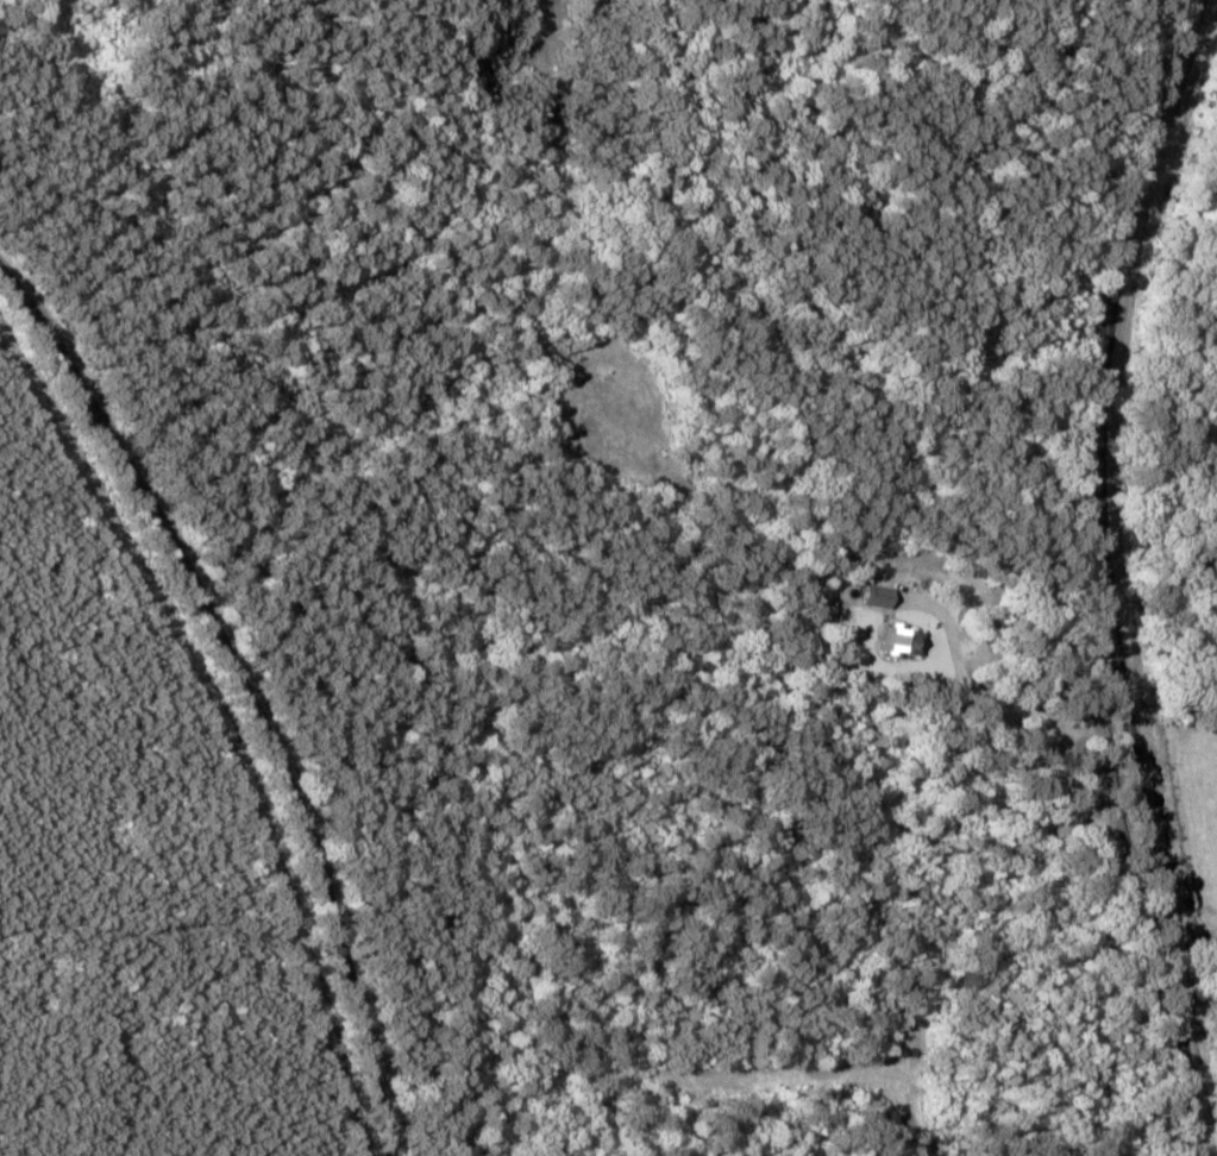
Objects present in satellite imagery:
road: (19, 0)
road: (1112, 593)
building: (883, 597)
building: (905, 641)
road: (253, 704)

